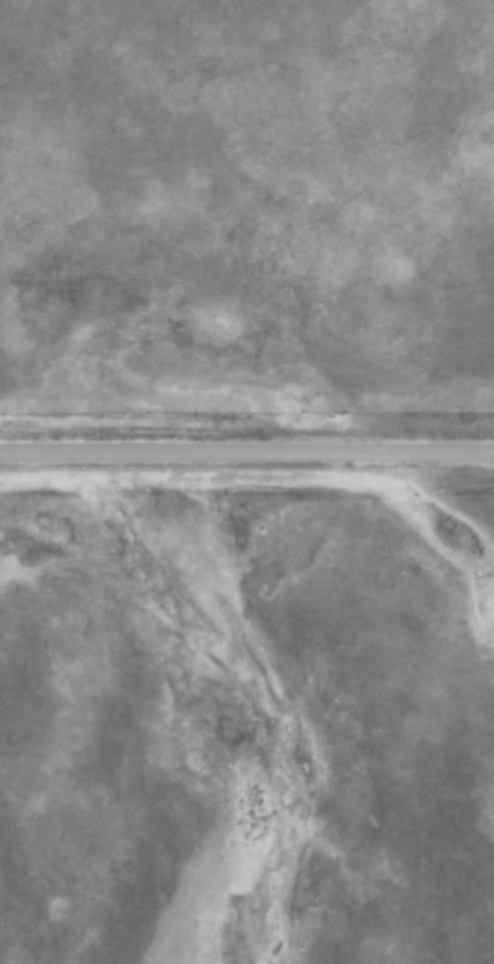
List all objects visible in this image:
road: (246, 448)

